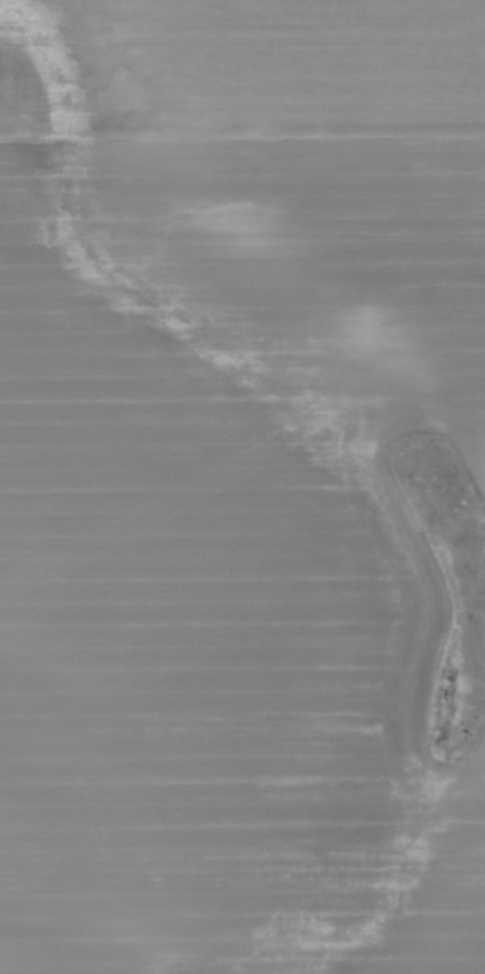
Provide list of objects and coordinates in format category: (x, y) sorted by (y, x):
crop: (236, 484)

